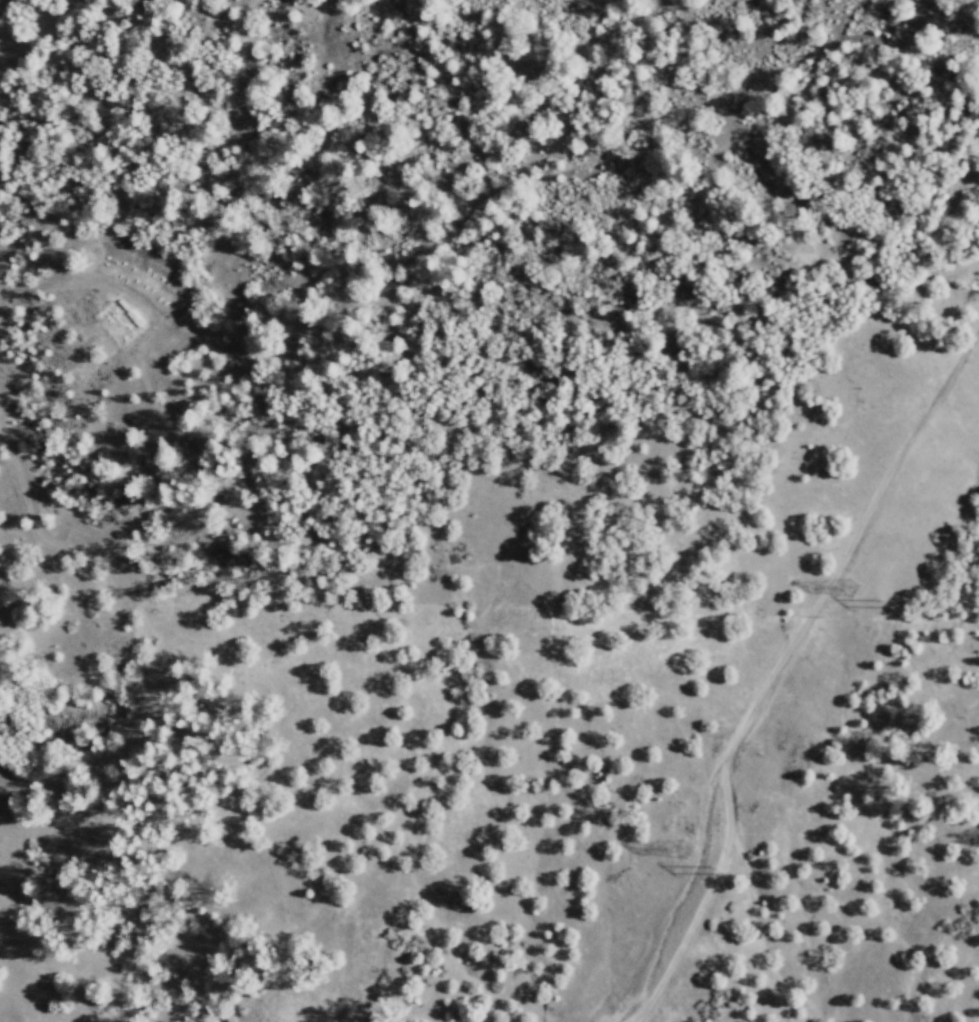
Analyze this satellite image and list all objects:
power tower: (855, 596)
power tower: (895, 615)
power tower: (690, 860)
power tower: (725, 880)

